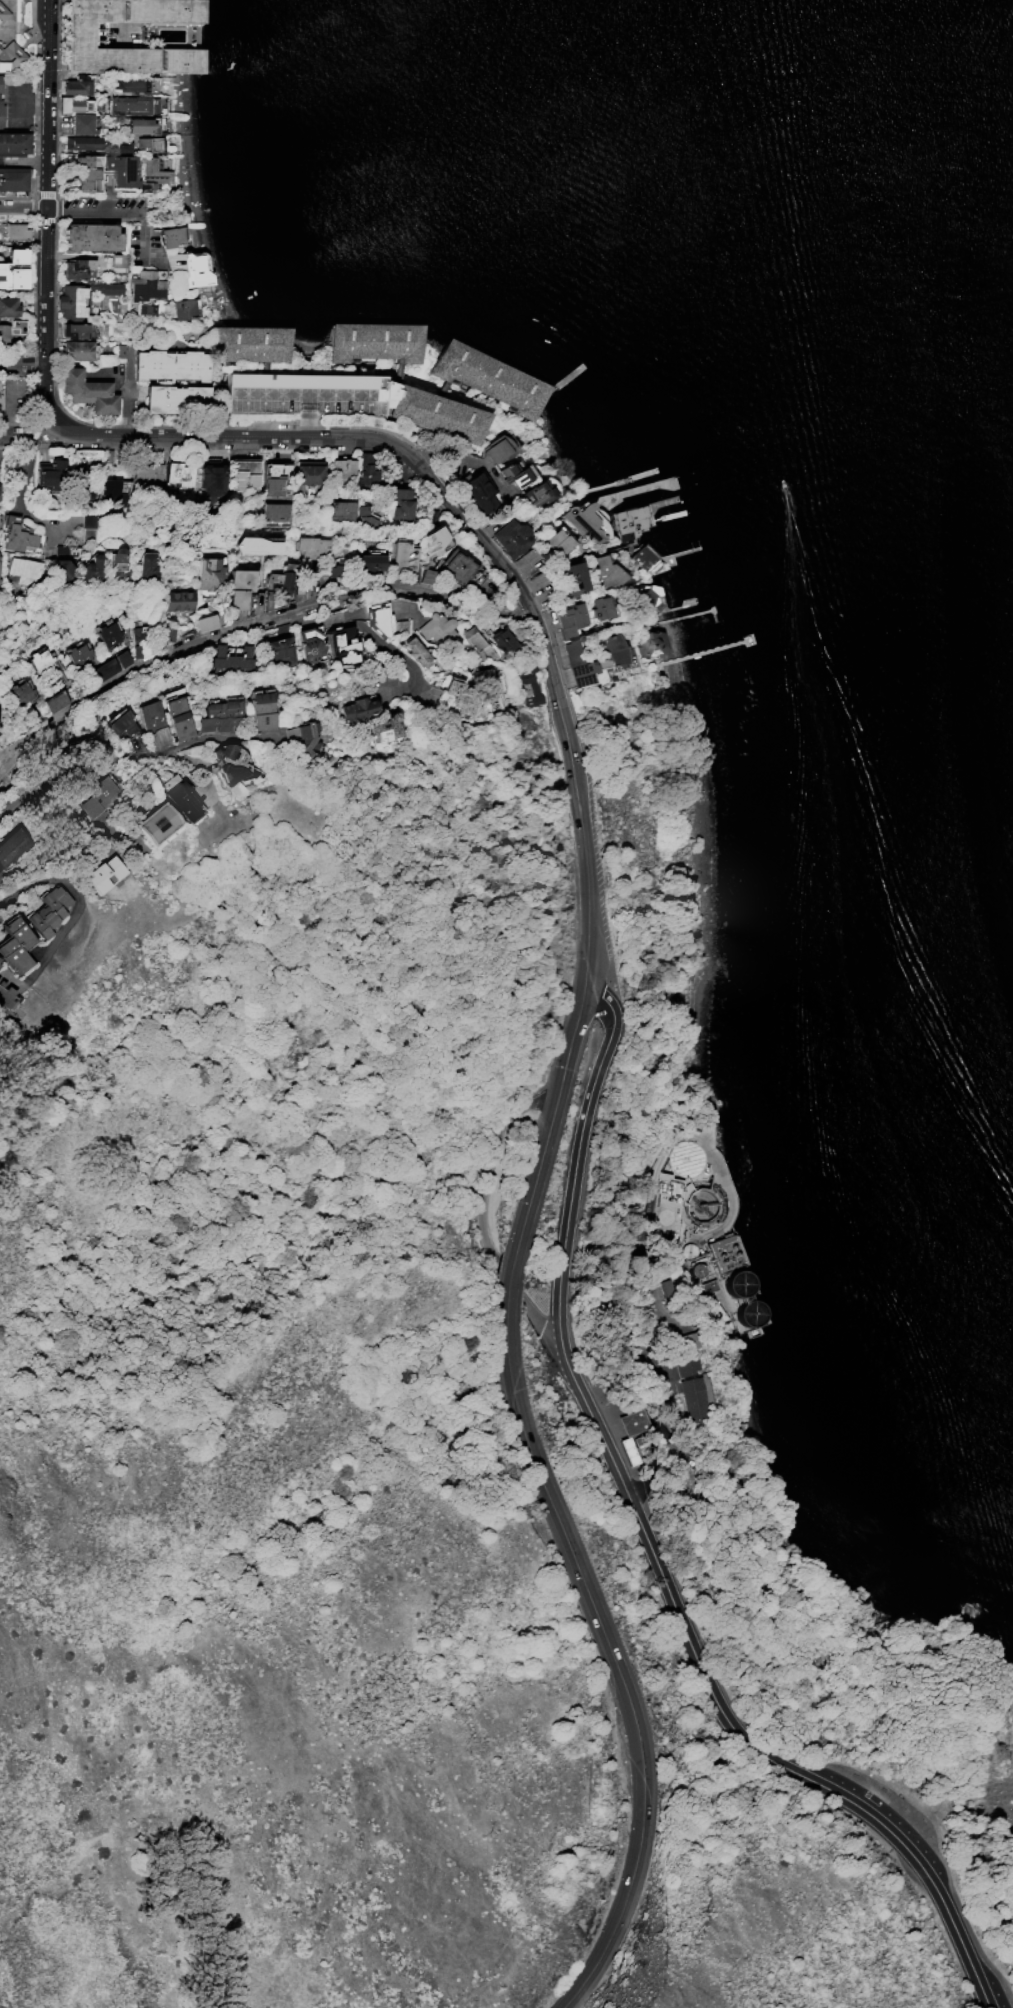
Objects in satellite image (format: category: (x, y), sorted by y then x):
building: (3, 12)
building: (82, 35)
building: (11, 57)
building: (130, 82)
building: (76, 85)
road: (23, 92)
building: (1, 100)
building: (74, 104)
building: (132, 105)
building: (82, 124)
building: (138, 125)
building: (82, 142)
building: (15, 144)
building: (148, 144)
building: (123, 146)
building: (122, 170)
building: (154, 170)
building: (86, 173)
building: (14, 179)
road: (72, 207)
road: (45, 213)
building: (16, 230)
road: (142, 234)
building: (171, 236)
building: (96, 237)
building: (118, 260)
building: (78, 269)
building: (20, 270)
building: (195, 271)
building: (4, 276)
building: (146, 284)
building: (106, 287)
building: (73, 301)
building: (8, 306)
building: (185, 308)
building: (147, 309)
building: (11, 329)
building: (74, 330)
building: (77, 350)
building: (120, 350)
road: (22, 362)
building: (172, 365)
road: (261, 385)
building: (303, 385)
parking lot: (348, 385)
building: (88, 391)
road: (125, 391)
building: (177, 399)
road: (223, 436)
road: (33, 437)
building: (498, 448)
building: (343, 468)
building: (366, 469)
building: (51, 472)
building: (148, 473)
building: (180, 473)
building: (517, 473)
building: (308, 474)
building: (244, 475)
building: (275, 477)
building: (213, 481)
pier: (623, 482)
building: (115, 490)
building: (479, 490)
building: (540, 492)
pier: (639, 492)
road: (20, 494)
building: (402, 504)
building: (341, 510)
building: (275, 511)
building: (365, 517)
building: (584, 521)
building: (630, 521)
building: (88, 527)
building: (17, 534)
building: (512, 537)
building: (434, 541)
building: (557, 543)
building: (256, 545)
building: (311, 546)
building: (643, 557)
building: (402, 558)
building: (67, 559)
building: (370, 562)
building: (119, 563)
building: (147, 564)
building: (457, 566)
road: (507, 567)
building: (92, 568)
building: (332, 569)
building: (24, 570)
building: (606, 572)
building: (210, 573)
building: (426, 575)
building: (281, 578)
building: (571, 578)
building: (240, 587)
building: (647, 595)
building: (179, 600)
building: (602, 607)
pier: (681, 608)
building: (378, 617)
pier: (690, 617)
road: (261, 621)
building: (206, 622)
building: (401, 626)
building: (437, 632)
road: (369, 633)
building: (109, 634)
building: (167, 634)
building: (138, 638)
building: (501, 640)
building: (652, 642)
building: (311, 644)
building: (345, 644)
building: (480, 648)
building: (585, 648)
building: (281, 651)
building: (417, 652)
building: (79, 655)
building: (232, 657)
building: (123, 658)
building: (41, 659)
building: (106, 669)
building: (529, 680)
building: (488, 686)
building: (21, 692)
building: (462, 698)
building: (56, 700)
building: (268, 705)
building: (357, 707)
building: (156, 710)
building: (183, 710)
building: (227, 711)
building: (131, 724)
building: (392, 724)
building: (312, 737)
parking lot: (590, 740)
building: (89, 748)
road: (7, 753)
road: (132, 758)
road: (7, 760)
building: (230, 762)
building: (99, 796)
building: (183, 801)
building: (157, 824)
building: (12, 846)
road: (588, 861)
building: (104, 874)
road: (74, 899)
building: (48, 910)
building: (17, 945)
building: (0, 962)
building: (0, 965)
building: (7, 996)
road: (573, 1044)
road: (577, 1162)
road: (492, 1167)
building: (666, 1225)
building: (693, 1250)
building: (731, 1253)
building: (700, 1269)
building: (741, 1283)
building: (713, 1285)
building: (667, 1287)
building: (752, 1312)
road: (542, 1326)
building: (690, 1340)
building: (692, 1390)
building: (631, 1424)
building: (627, 1450)
road: (574, 1558)
road: (727, 1719)
parking lot: (899, 1819)

